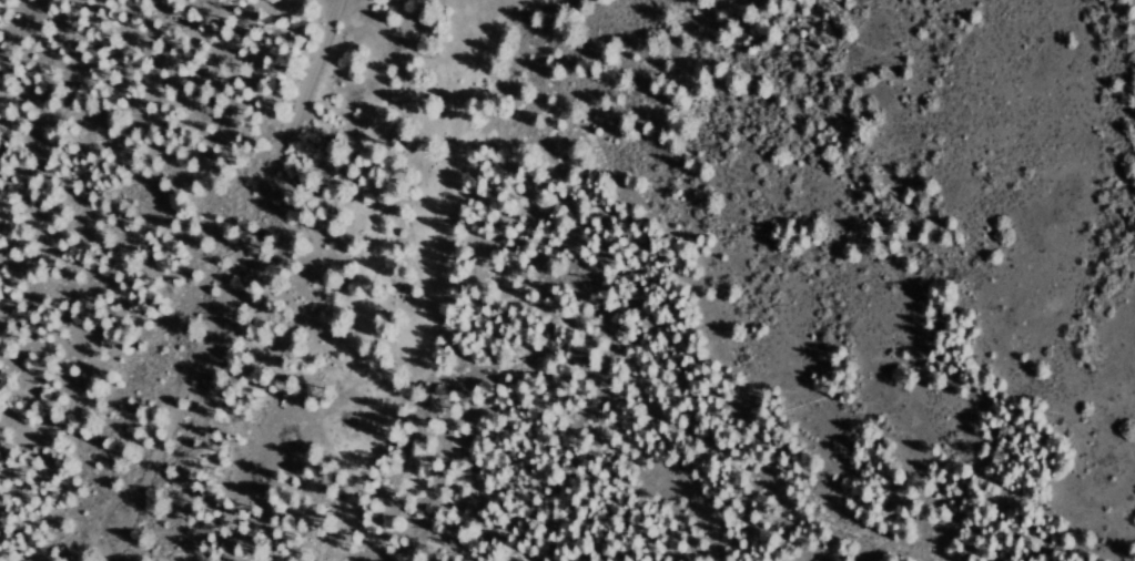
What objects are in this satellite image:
road: (225, 280)

